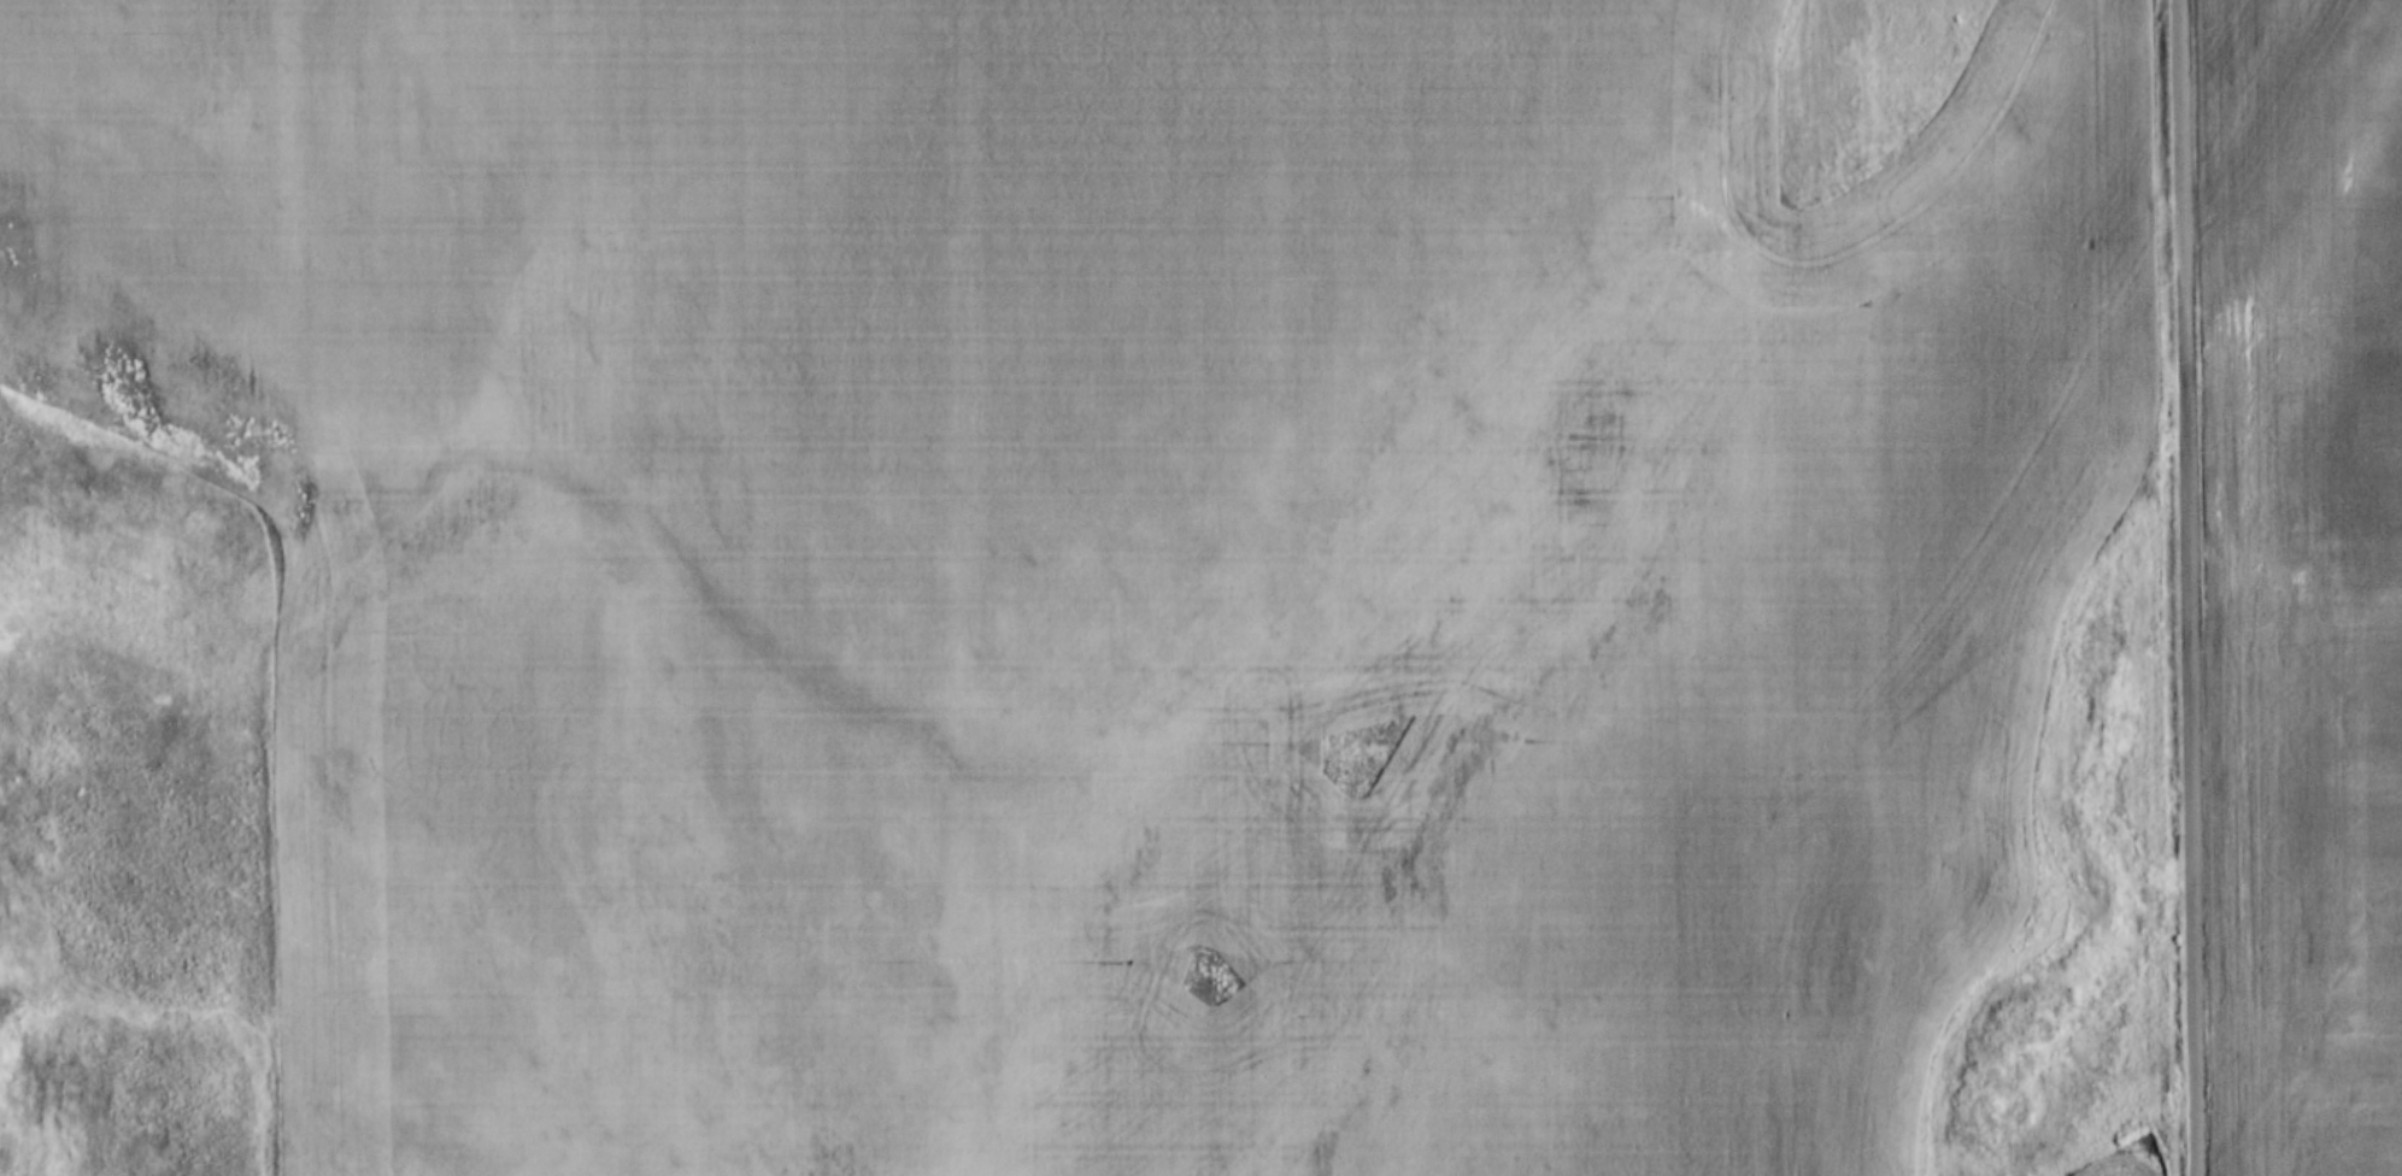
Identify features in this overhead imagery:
road: (2189, 587)

